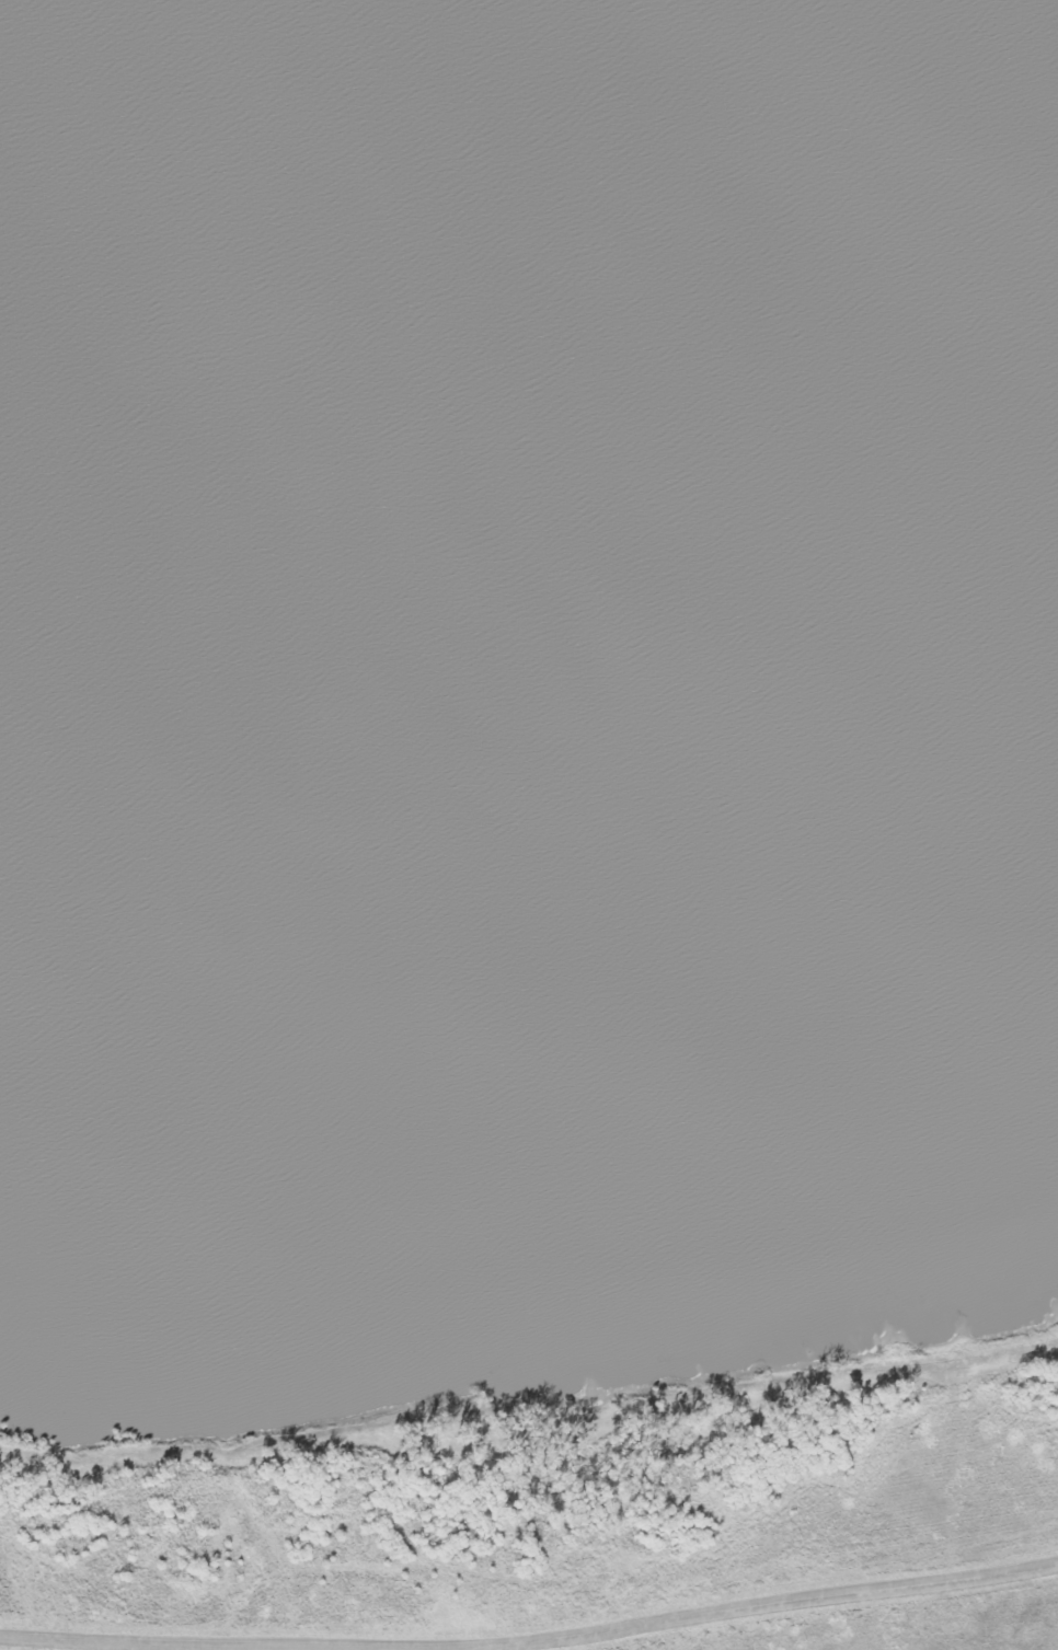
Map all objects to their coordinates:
road: (790, 1599)
road: (227, 1635)

